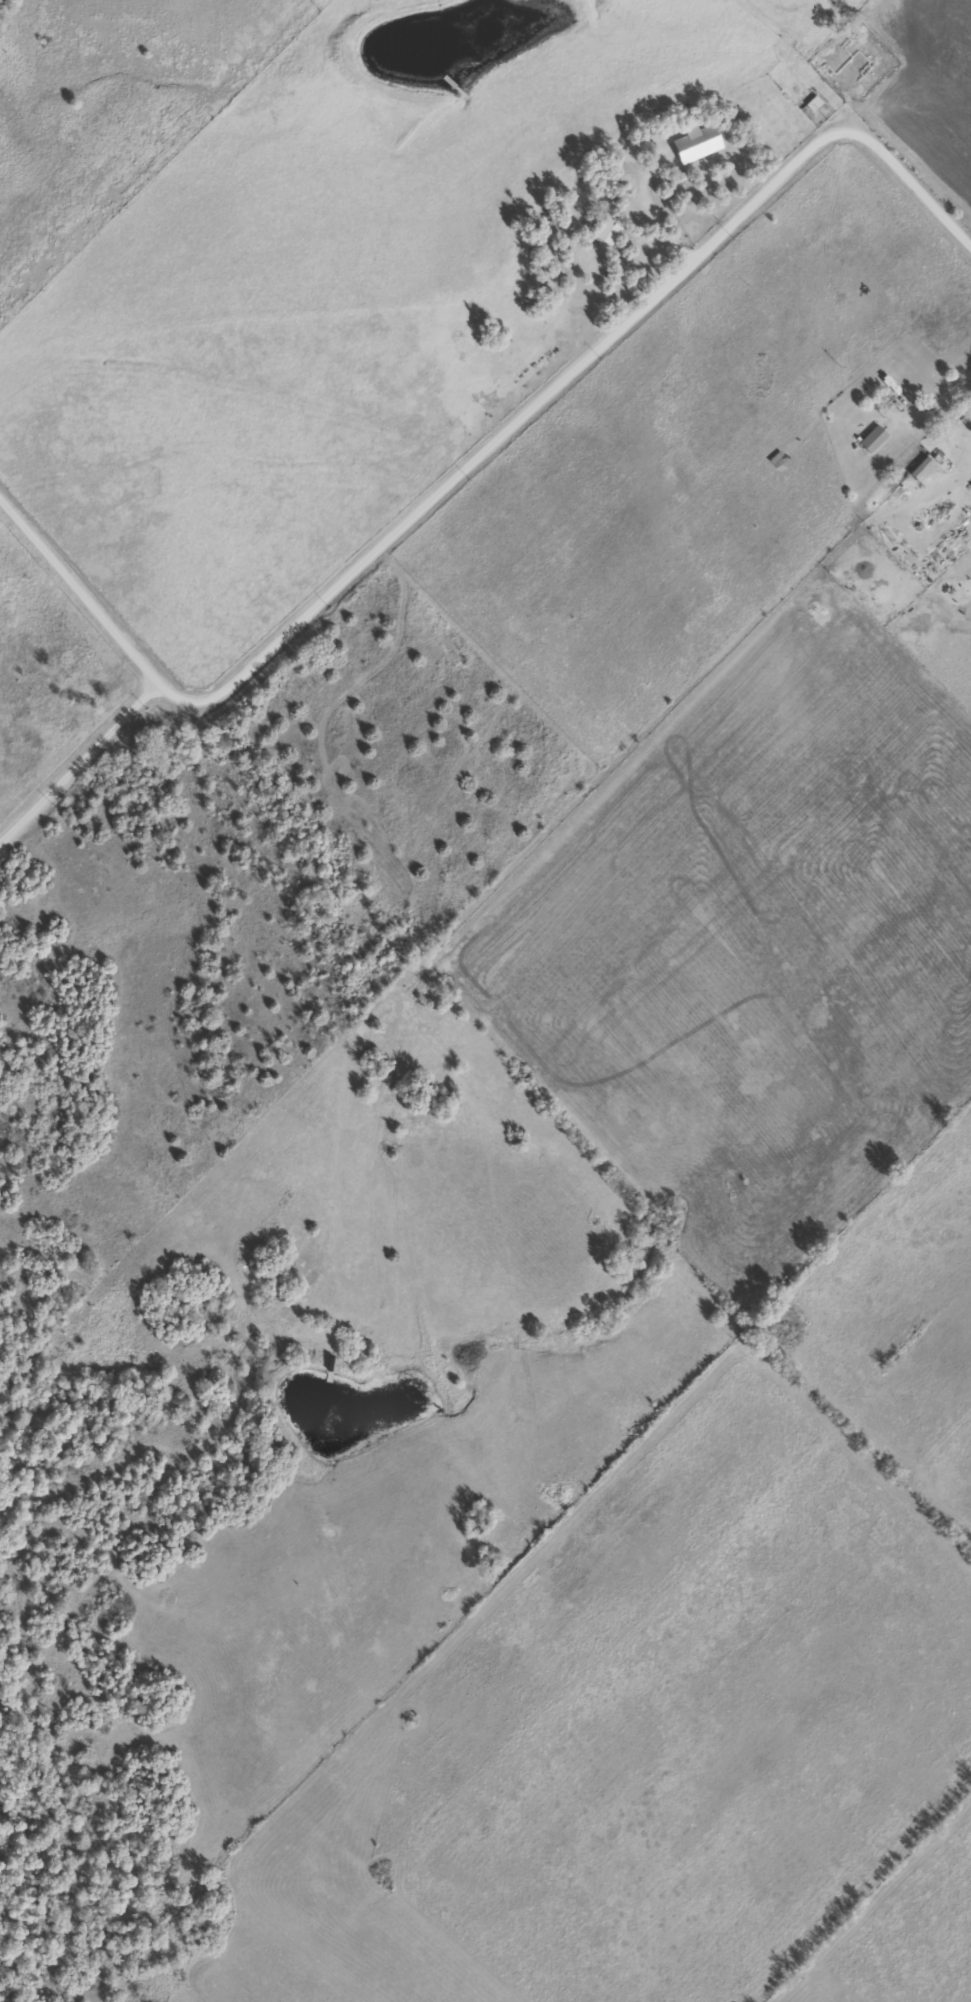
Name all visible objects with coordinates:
building: (812, 103)
building: (607, 229)
building: (896, 389)
building: (872, 438)
road: (478, 453)
building: (923, 469)
road: (80, 766)

